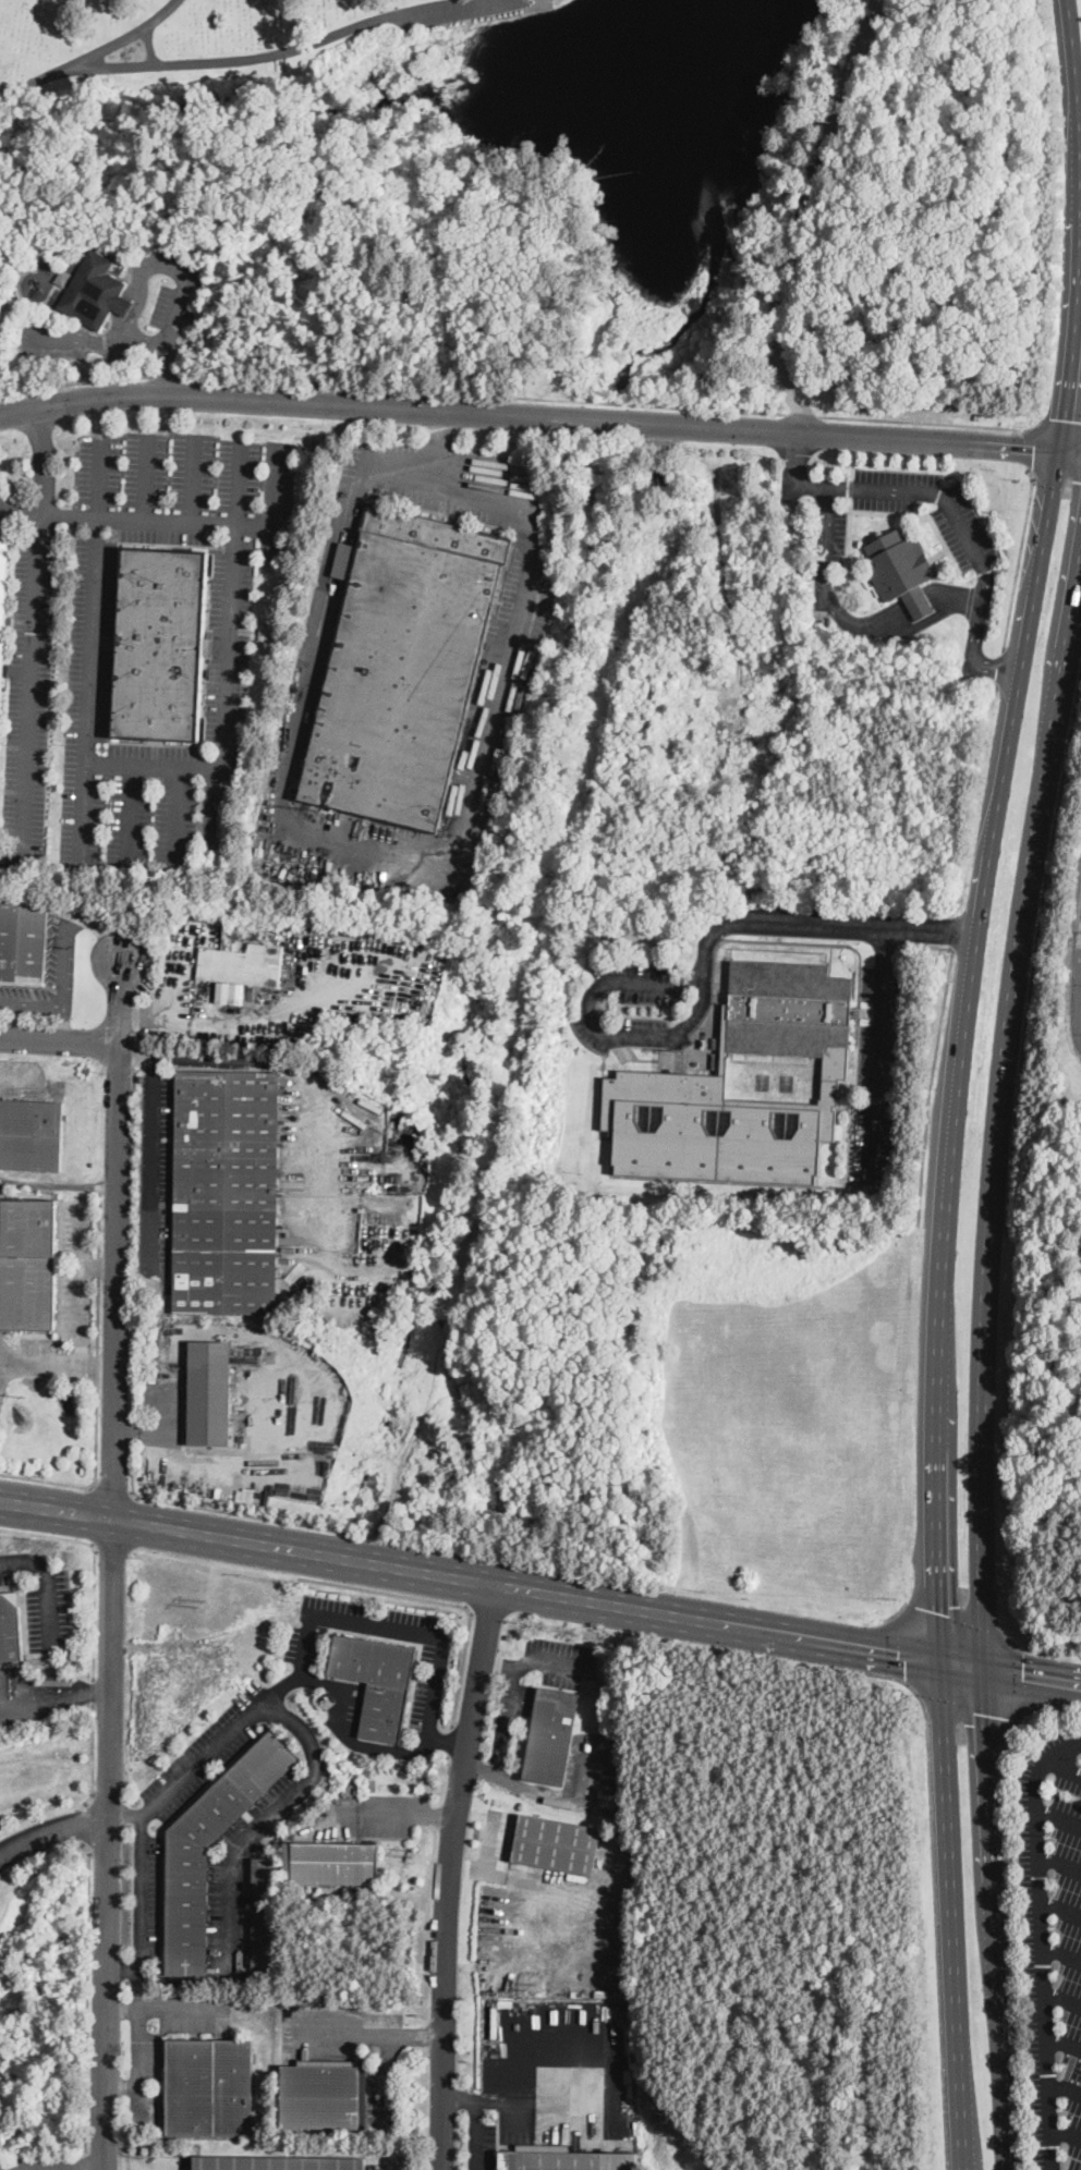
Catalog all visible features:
road: (288, 48)
road: (92, 62)
park: (404, 89)
building: (100, 244)
building: (112, 251)
building: (63, 277)
building: (94, 292)
building: (241, 315)
building: (260, 325)
building: (230, 329)
road: (108, 338)
road: (175, 338)
road: (170, 376)
road: (75, 382)
road: (610, 402)
road: (540, 414)
traffic signals: (1065, 419)
road: (1059, 420)
traffic signals: (1034, 448)
road: (1030, 450)
road: (44, 461)
road: (794, 475)
road: (1055, 475)
road: (149, 480)
road: (195, 480)
road: (930, 493)
road: (198, 525)
road: (826, 528)
parking lot: (964, 534)
parking lot: (831, 537)
road: (1019, 556)
building: (901, 570)
building: (3, 607)
road: (1033, 608)
road: (907, 612)
road: (885, 630)
parking lot: (241, 641)
road: (975, 642)
building: (160, 645)
building: (403, 667)
building: (7, 669)
parking lot: (29, 669)
road: (32, 679)
road: (159, 766)
road: (86, 814)
road: (131, 817)
road: (177, 820)
building: (259, 850)
road: (416, 858)
road: (1022, 894)
road: (781, 919)
road: (90, 922)
road: (955, 939)
building: (23, 940)
road: (1035, 956)
building: (243, 965)
road: (591, 996)
road: (48, 1003)
road: (142, 1013)
road: (229, 1016)
road: (58, 1038)
road: (134, 1048)
road: (879, 1051)
road: (934, 1060)
building: (645, 1073)
road: (306, 1081)
building: (32, 1135)
road: (153, 1155)
parking lot: (157, 1172)
building: (226, 1192)
building: (28, 1261)
road: (333, 1272)
building: (209, 1393)
power tower: (24, 1395)
road: (153, 1435)
road: (940, 1438)
road: (97, 1449)
road: (977, 1454)
road: (113, 1488)
road: (157, 1500)
road: (472, 1578)
road: (48, 1582)
parking lot: (42, 1599)
power tower: (203, 1601)
road: (442, 1602)
road: (111, 1605)
traffic signals: (943, 1610)
road: (951, 1614)
parking lot: (355, 1625)
building: (11, 1627)
road: (906, 1644)
traffic signals: (898, 1656)
road: (498, 1663)
road: (962, 1666)
traffic signals: (1023, 1677)
road: (1030, 1678)
road: (1021, 1680)
building: (377, 1681)
road: (511, 1683)
parking lot: (428, 1690)
road: (274, 1697)
parking lot: (515, 1700)
road: (93, 1710)
parking lot: (354, 1715)
traffic signals: (983, 1716)
road: (971, 1718)
road: (348, 1732)
building: (551, 1736)
road: (449, 1739)
road: (448, 1741)
road: (446, 1758)
parking lot: (203, 1759)
road: (1062, 1764)
road: (522, 1788)
road: (276, 1812)
road: (410, 1814)
road: (127, 1815)
road: (1059, 1820)
road: (52, 1828)
building: (557, 1844)
power tower: (416, 1852)
road: (44, 1854)
building: (331, 1863)
road: (1060, 1863)
road: (448, 1875)
parking lot: (147, 1902)
road: (934, 1902)
road: (1061, 1906)
road: (1011, 1907)
building: (186, 1912)
building: (264, 1913)
road: (950, 1916)
road: (993, 1919)
parking lot: (1049, 1940)
road: (1042, 1941)
road: (1061, 1956)
road: (125, 1971)
power tower: (530, 1984)
road: (1062, 1998)
road: (371, 2032)
road: (1064, 2041)
building: (209, 2087)
road: (1065, 2087)
building: (320, 2095)
road: (543, 2099)
road: (478, 2114)
road: (1066, 2131)
building: (564, 2159)
building: (279, 2163)

